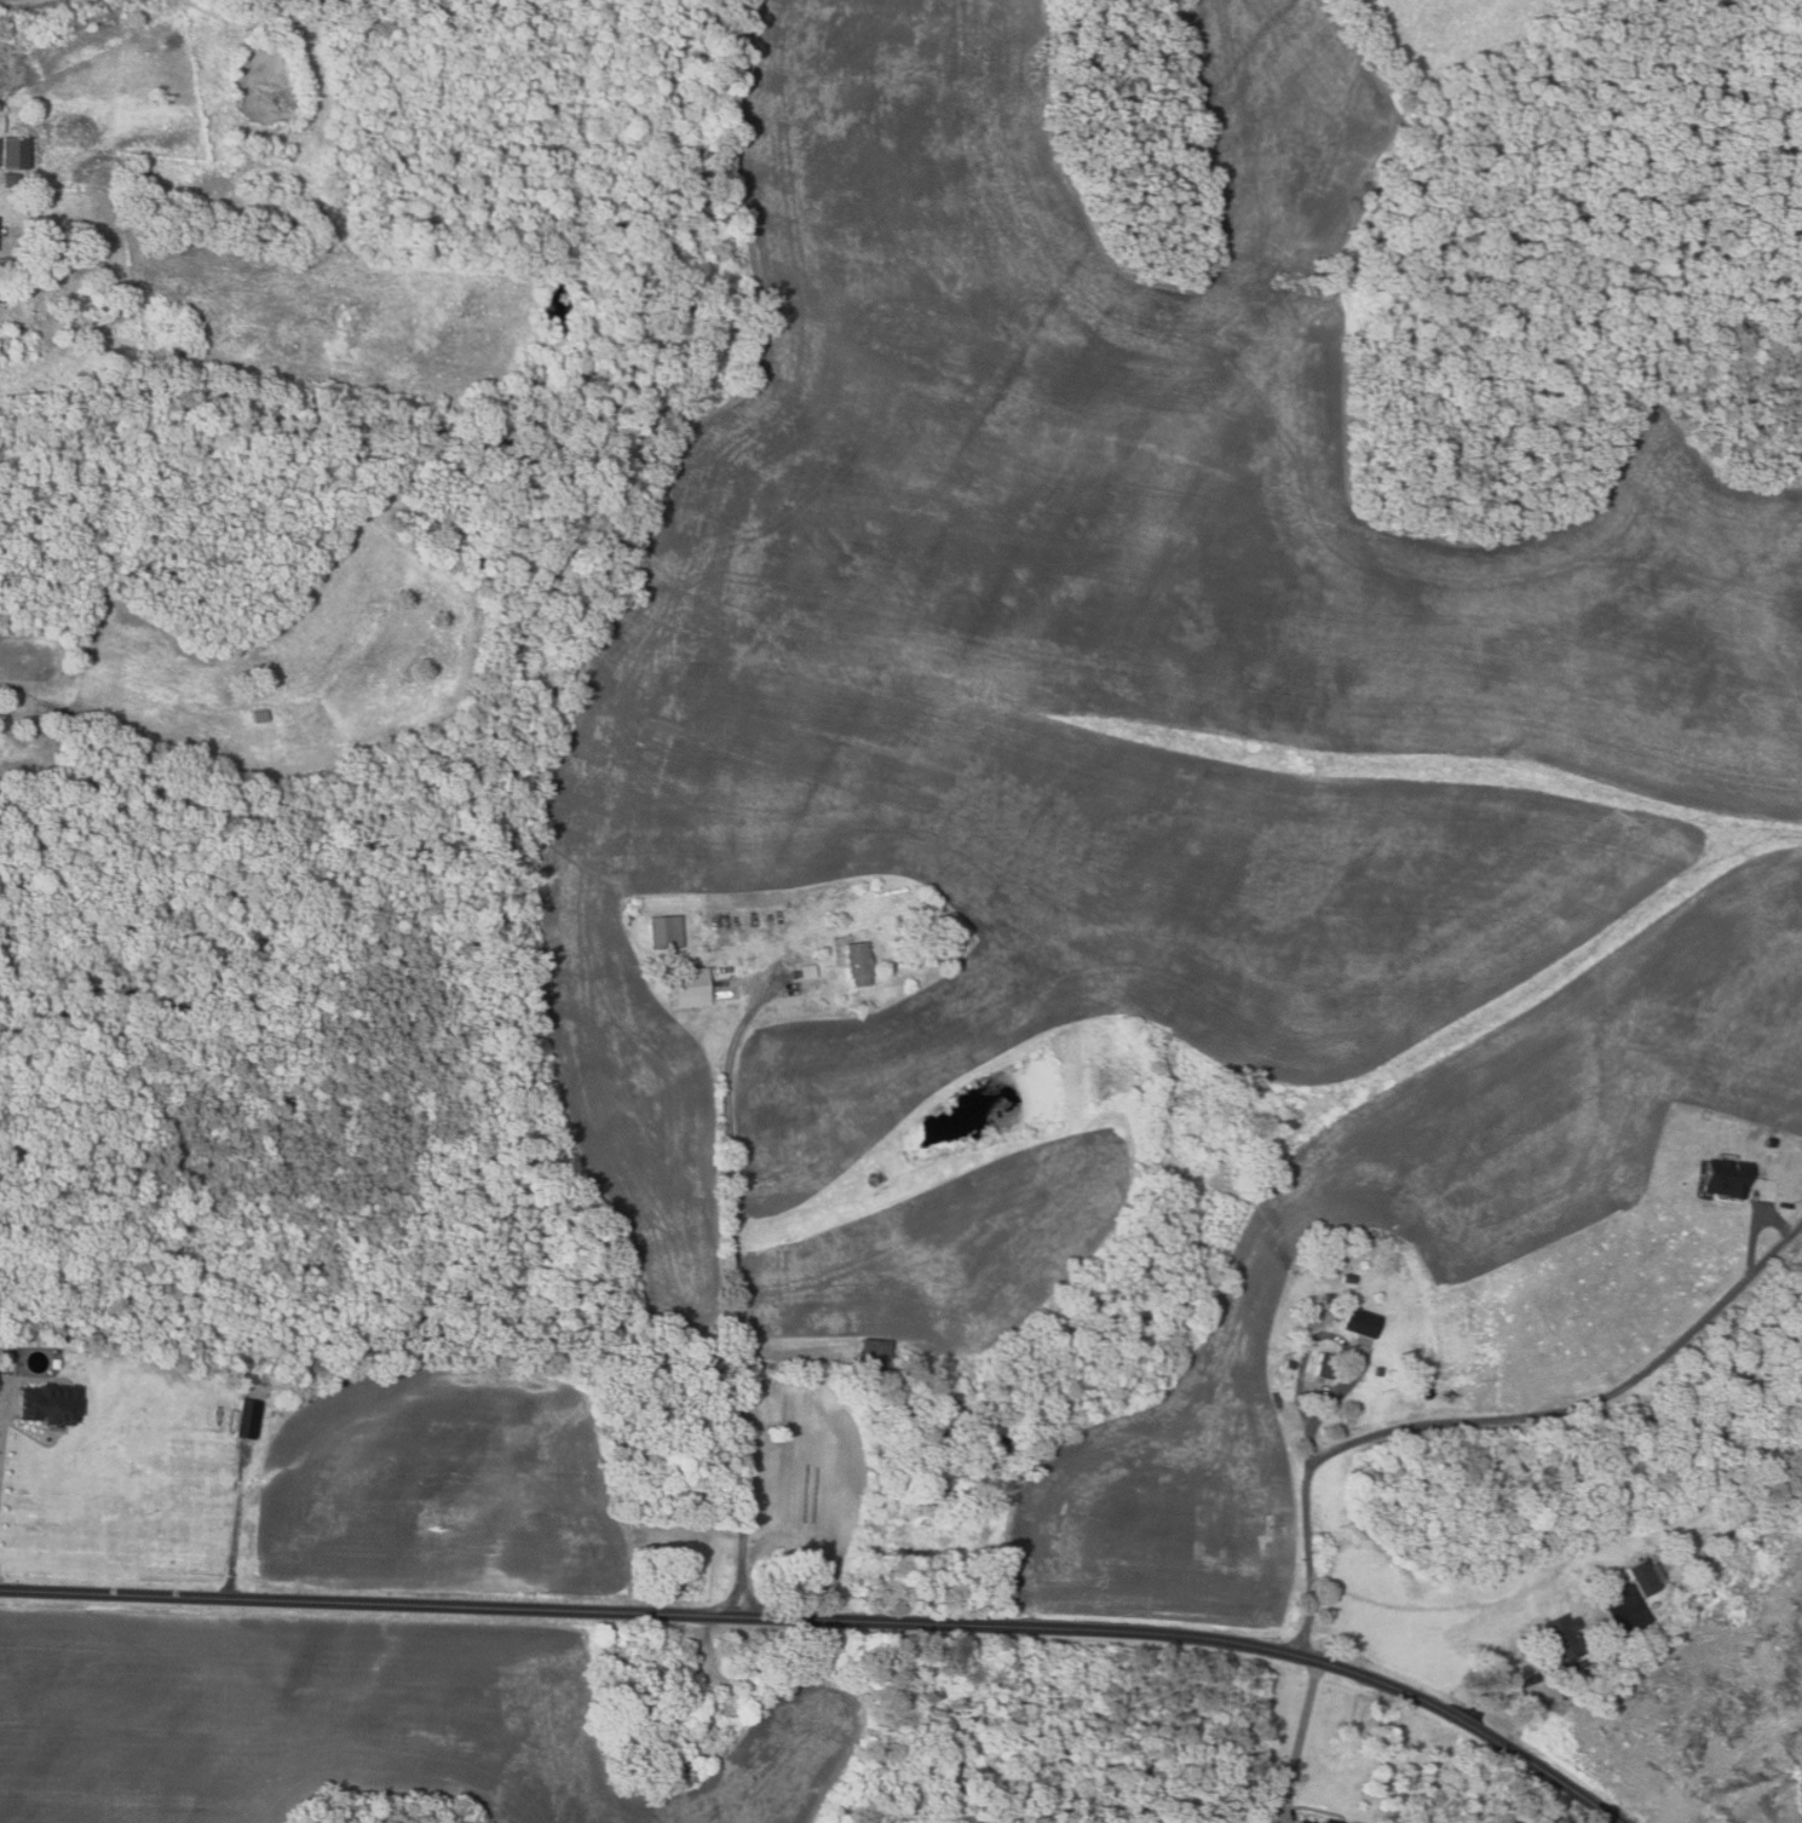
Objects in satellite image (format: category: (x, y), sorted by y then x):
building: (2, 121)
building: (18, 153)
building: (13, 178)
building: (7, 261)
building: (1, 278)
building: (99, 288)
building: (2, 297)
building: (105, 305)
building: (24, 330)
crop: (1100, 627)
building: (258, 717)
building: (914, 927)
building: (663, 931)
building: (857, 962)
building: (806, 971)
building: (686, 989)
building: (1723, 1179)
road: (1773, 1249)
crop: (1445, 1254)
crop: (945, 1255)
building: (1348, 1278)
building: (1326, 1298)
road: (736, 1305)
building: (1360, 1322)
building: (62, 1338)
road: (1346, 1345)
building: (1412, 1346)
building: (871, 1355)
building: (1289, 1364)
building: (1324, 1365)
building: (1377, 1371)
building: (1415, 1391)
building: (46, 1404)
road: (1584, 1405)
building: (244, 1419)
road: (2, 1426)
crop: (802, 1472)
crop: (443, 1485)
road: (236, 1522)
road: (1309, 1562)
building: (1645, 1577)
crop: (1447, 1599)
road: (833, 1620)
building: (1564, 1637)
road: (1551, 1673)
crop: (359, 1720)
road: (1299, 1741)
building: (1330, 1821)
building: (1301, 1822)

